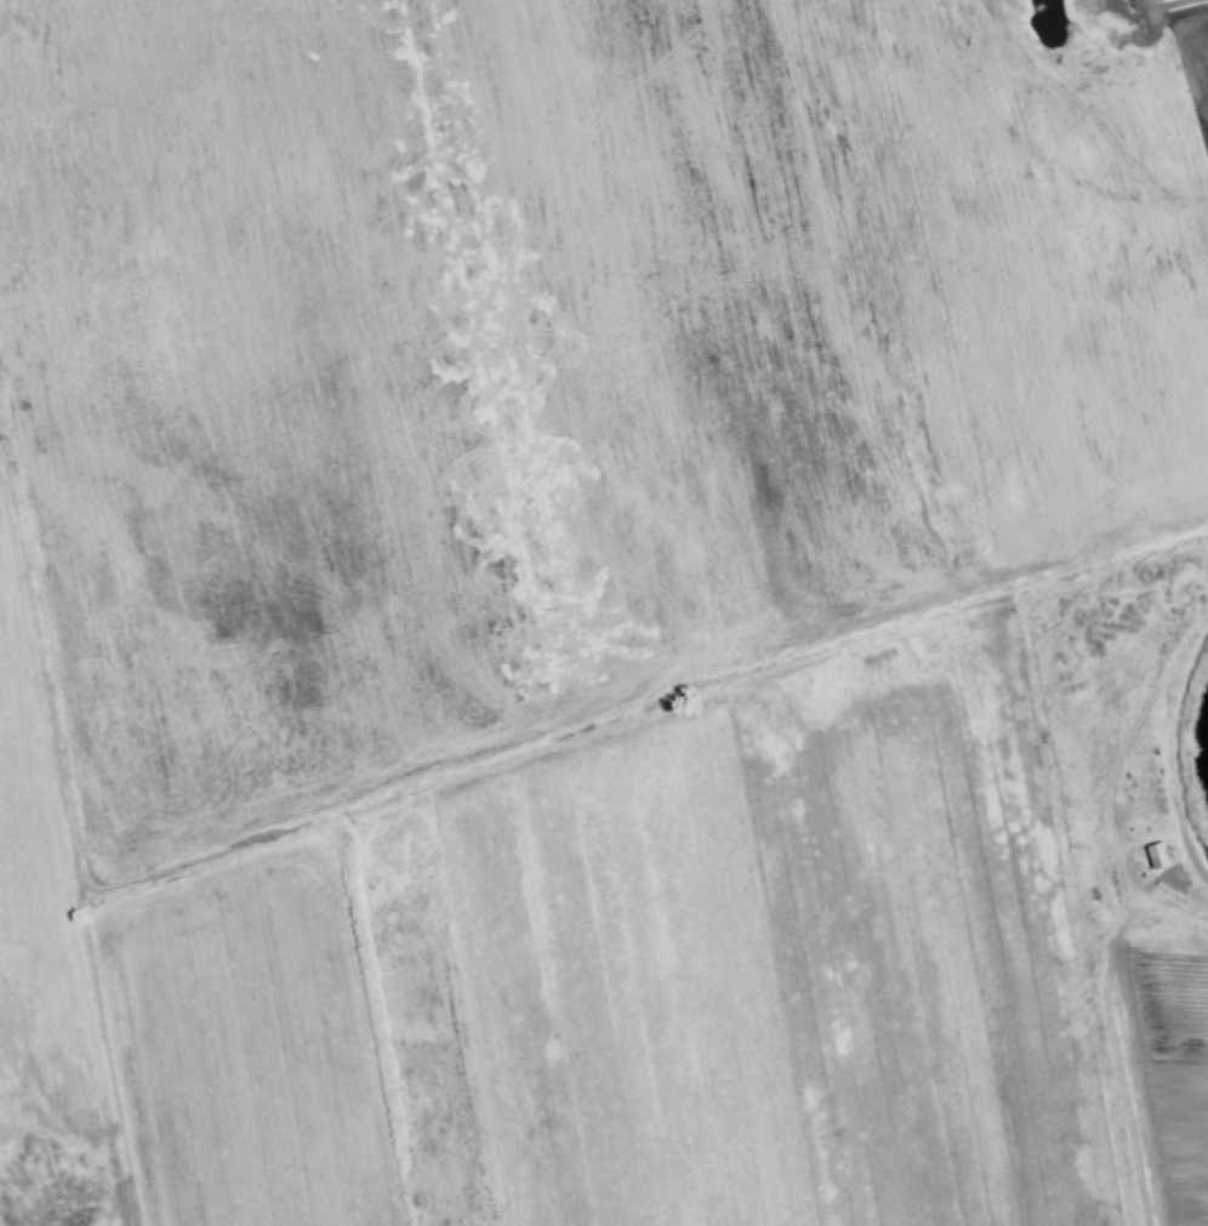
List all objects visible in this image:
building: (1158, 854)

